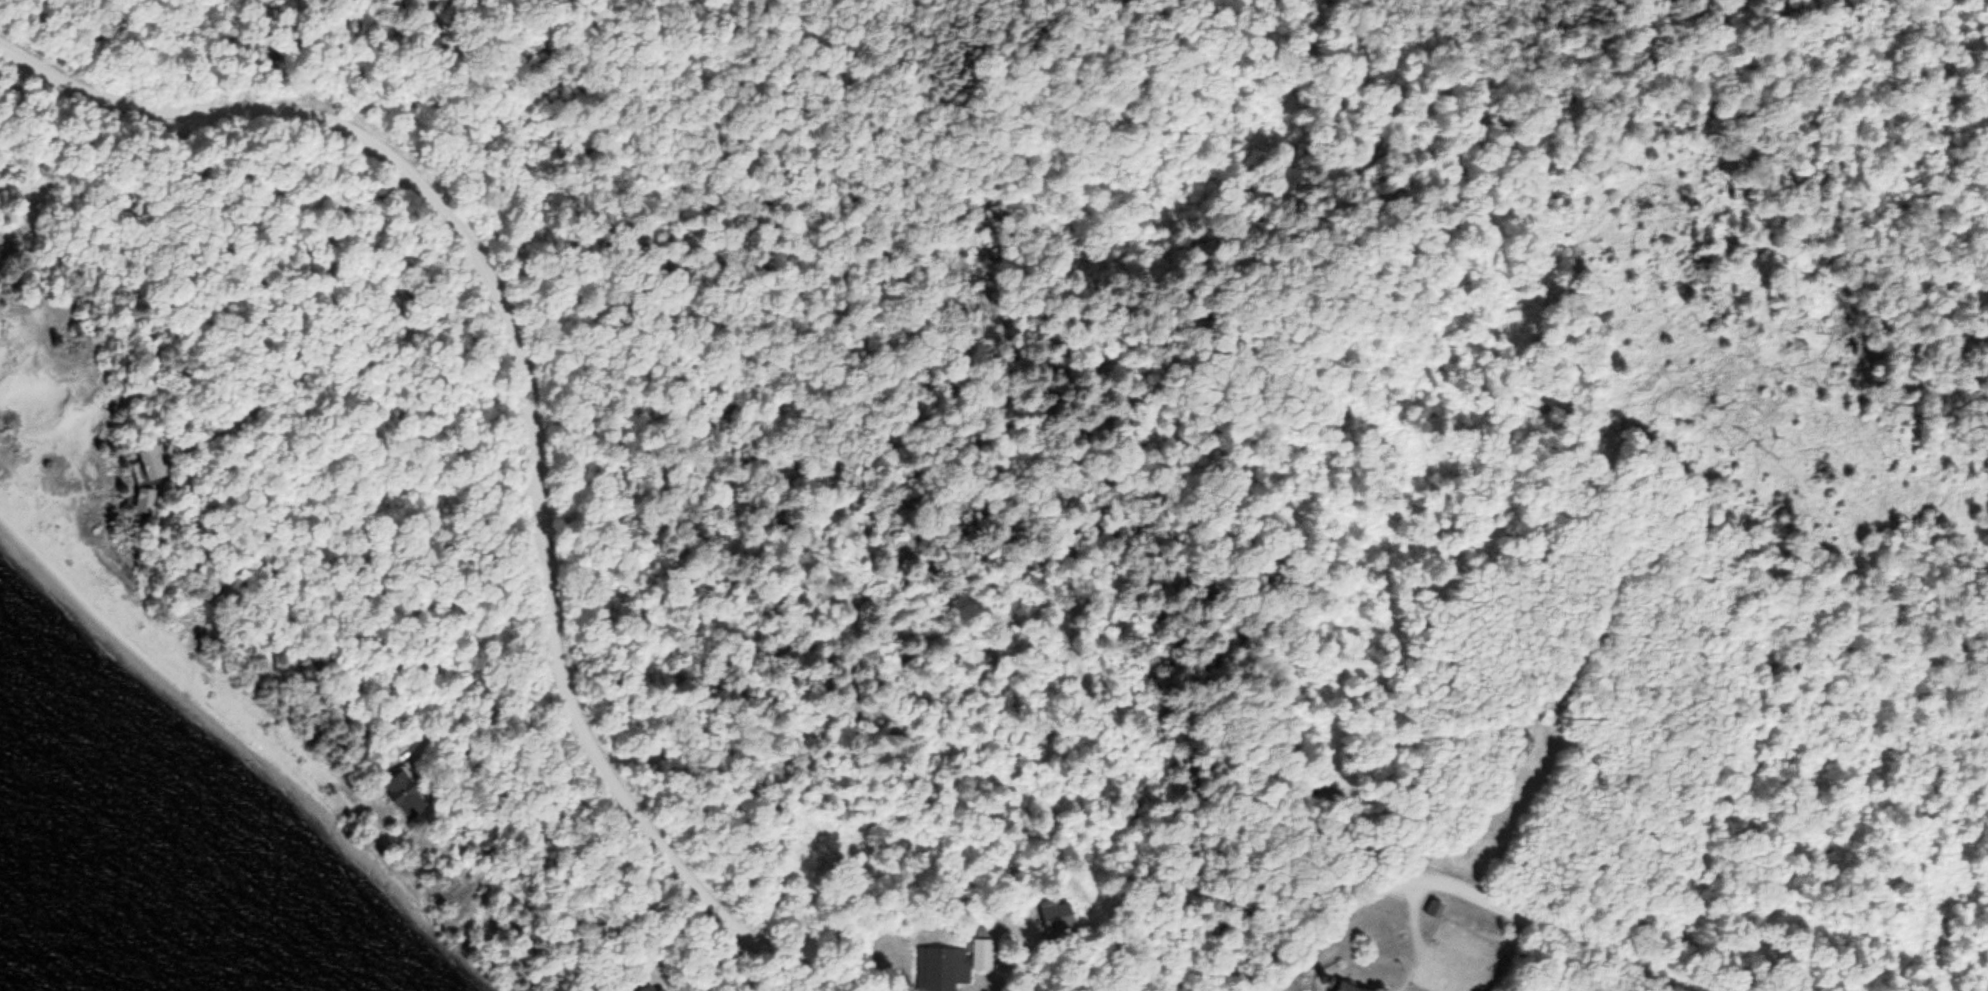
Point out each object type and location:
road: (528, 412)
building: (150, 463)
building: (397, 792)
road: (1461, 882)
building: (1431, 906)
building: (1053, 914)
building: (977, 929)
building: (978, 952)
building: (938, 966)
lighthouse: (1319, 979)
building: (1455, 979)
building: (1336, 985)
building: (644, 987)

